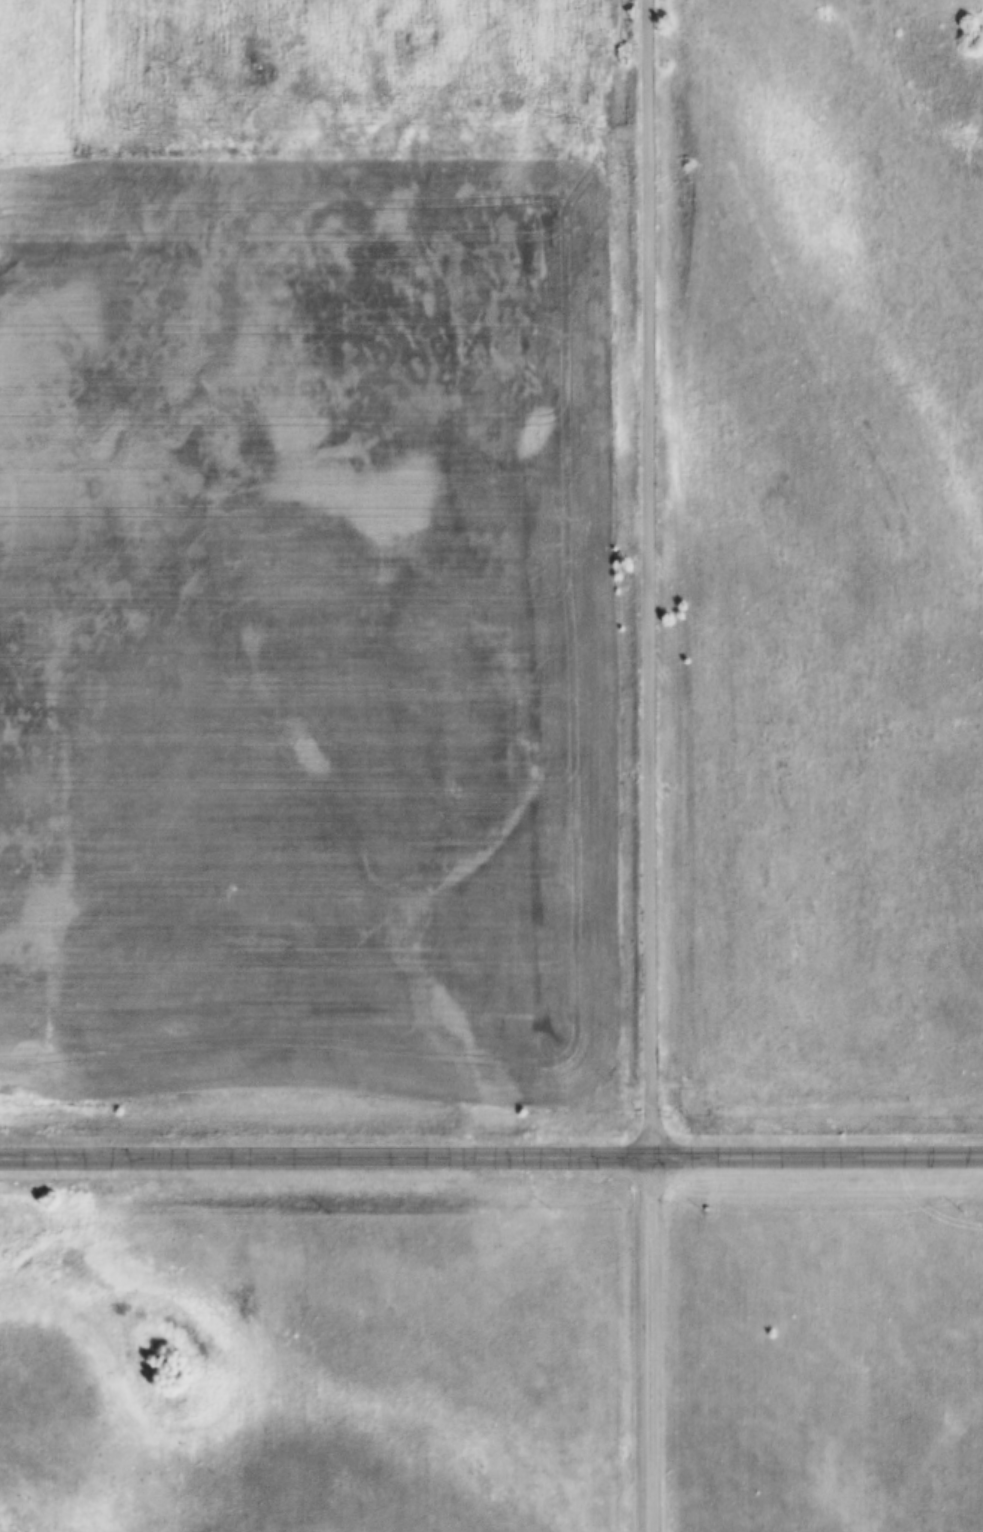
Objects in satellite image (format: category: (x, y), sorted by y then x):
road: (646, 577)
road: (491, 1155)
road: (650, 1343)

